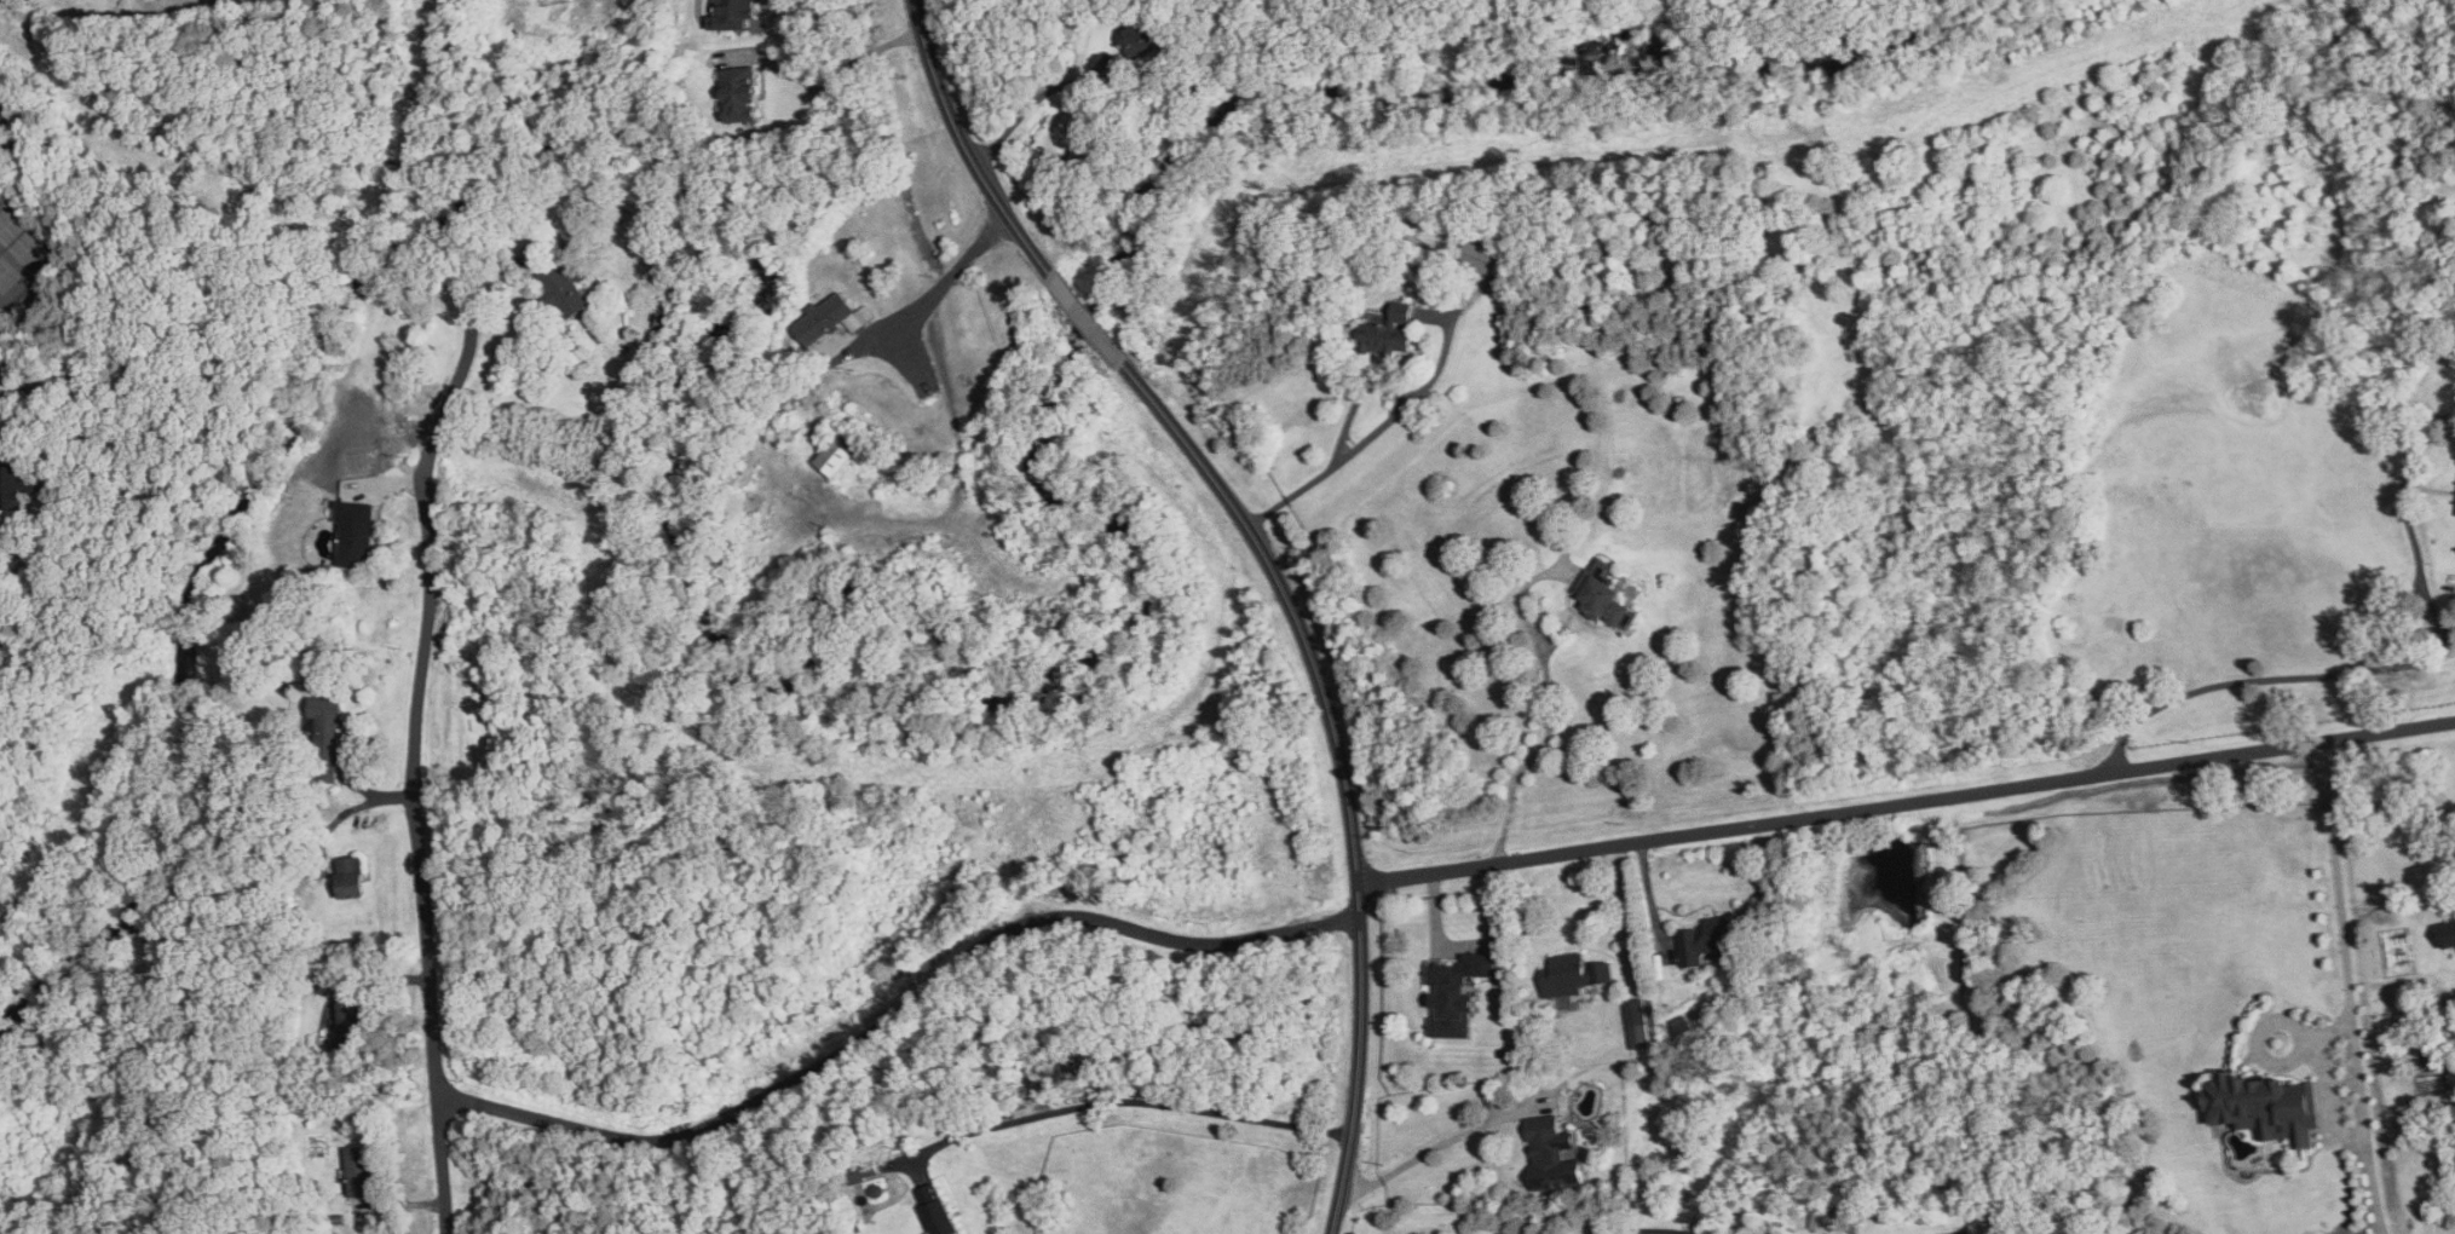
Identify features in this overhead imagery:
building: (733, 13)
building: (1136, 41)
road: (842, 75)
building: (739, 94)
road: (1035, 97)
road: (2, 115)
road: (964, 145)
park: (21, 253)
building: (1476, 255)
road: (945, 279)
building: (565, 287)
road: (1089, 316)
building: (830, 319)
building: (1390, 331)
building: (835, 459)
road: (1307, 484)
building: (15, 485)
road: (2405, 511)
building: (356, 543)
building: (1604, 602)
road: (2443, 625)
road: (2252, 674)
road: (1549, 698)
building: (325, 740)
road: (414, 761)
road: (1344, 767)
road: (1907, 802)
building: (351, 877)
road: (1629, 907)
road: (2341, 915)
building: (2448, 934)
building: (1704, 941)
building: (1573, 975)
building: (1458, 993)
road: (898, 1005)
building: (1637, 1023)
building: (352, 1027)
building: (1681, 1027)
road: (1126, 1100)
building: (2263, 1106)
road: (2342, 1126)
road: (1422, 1154)
building: (1555, 1154)
building: (361, 1171)
building: (937, 1211)
road: (1643, 1228)

